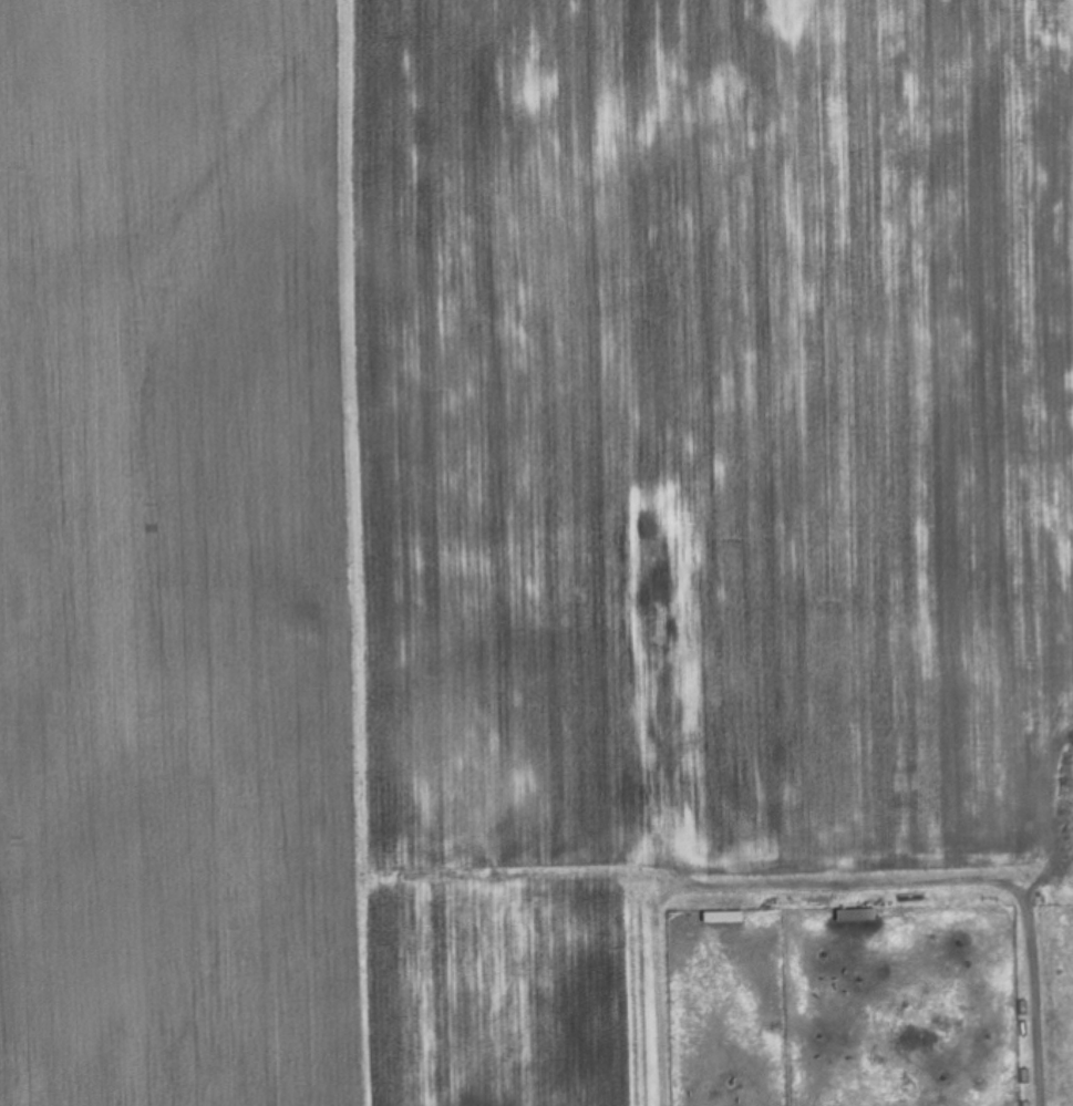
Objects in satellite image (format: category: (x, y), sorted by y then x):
building: (856, 914)
building: (723, 916)

